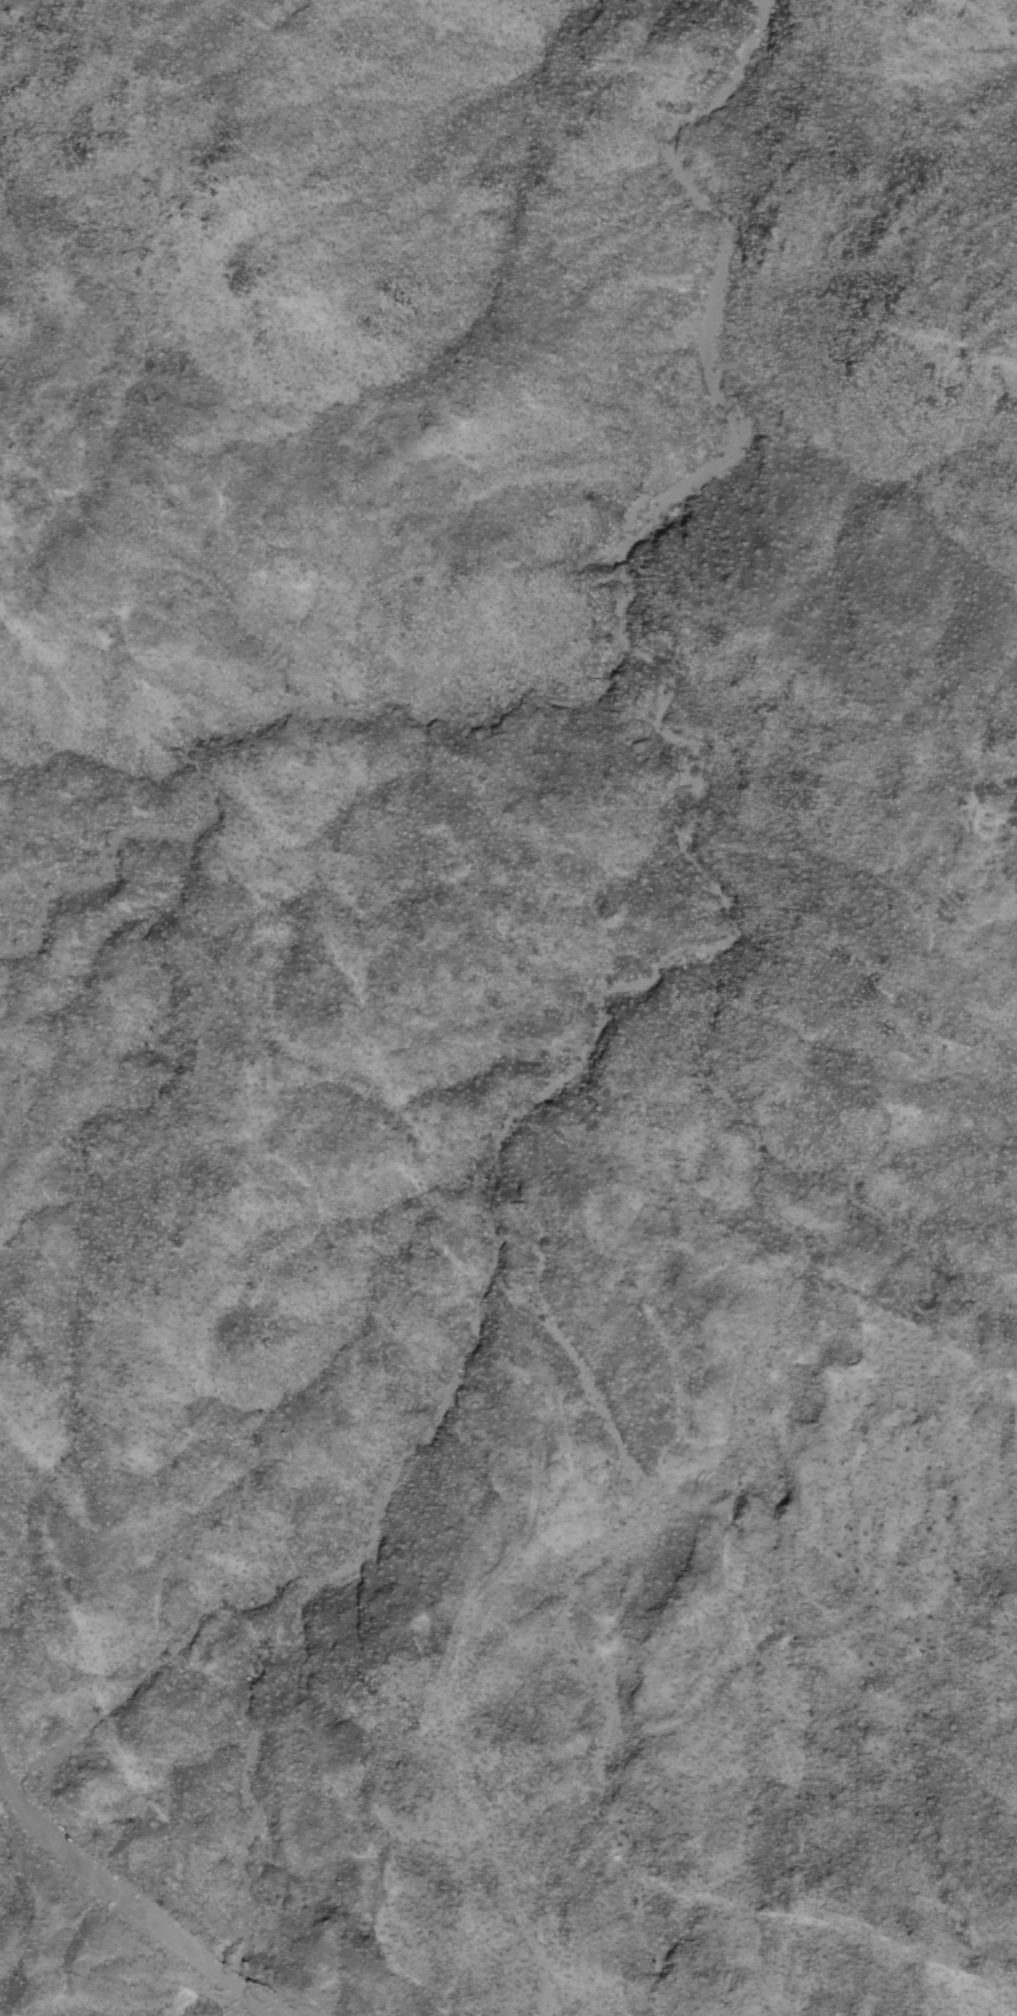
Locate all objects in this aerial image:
road: (127, 1898)

